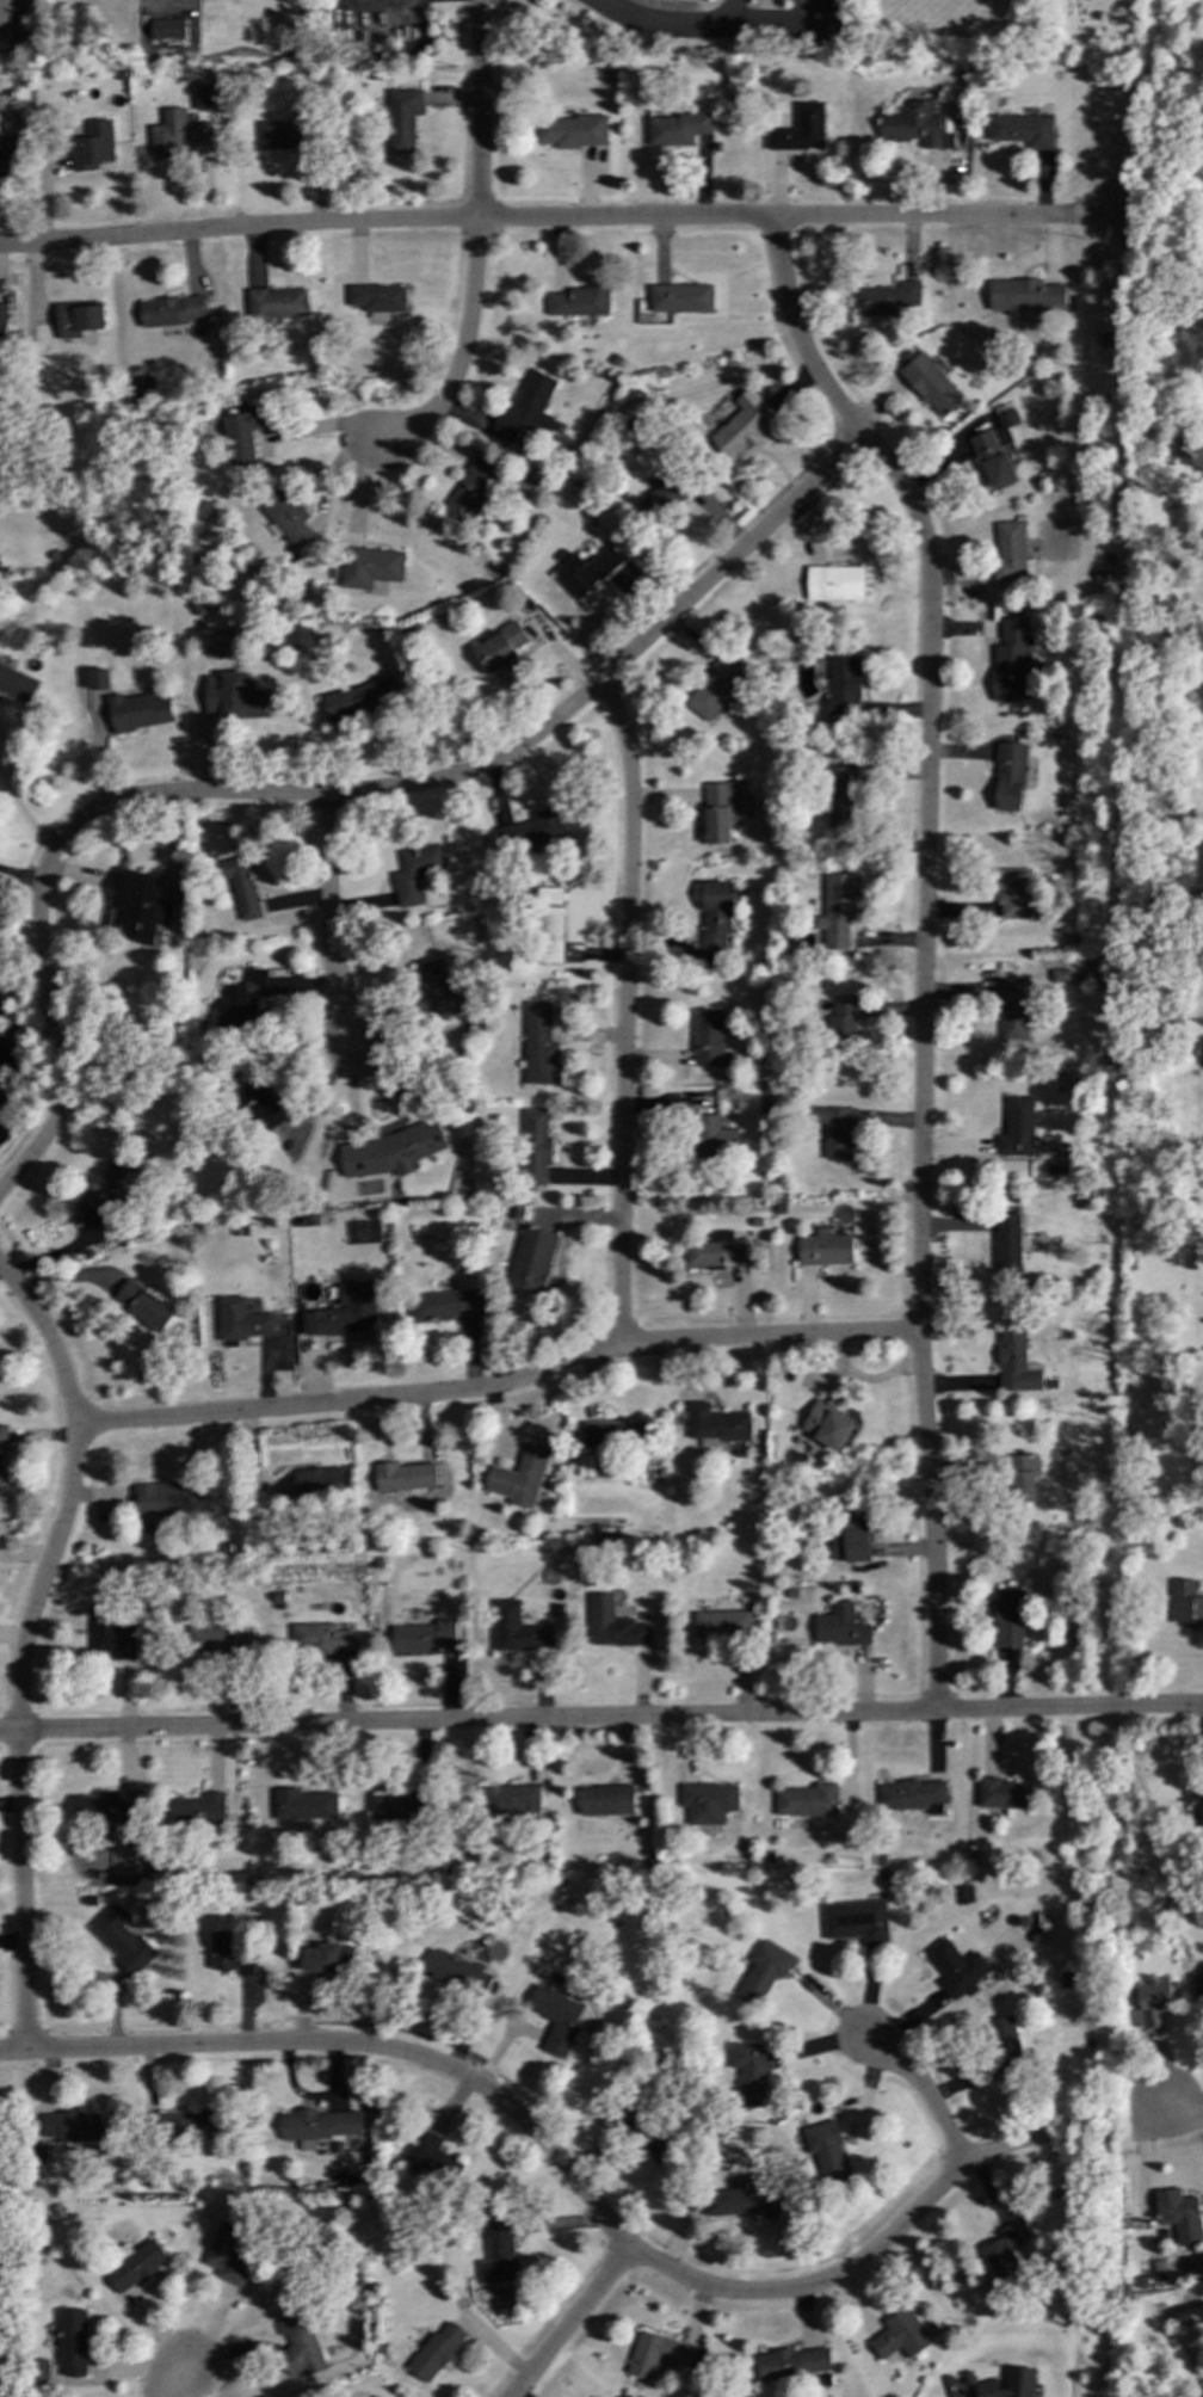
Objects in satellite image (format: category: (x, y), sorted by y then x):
building: (6, 12)
building: (825, 25)
road: (671, 27)
road: (776, 27)
building: (166, 29)
building: (208, 97)
road: (479, 110)
building: (402, 119)
building: (914, 125)
building: (677, 129)
building: (800, 130)
building: (1022, 130)
building: (572, 131)
building: (177, 135)
building: (284, 135)
building: (5, 136)
building: (92, 147)
road: (561, 220)
building: (1024, 296)
building: (679, 298)
building: (886, 298)
building: (377, 300)
building: (579, 302)
building: (276, 303)
building: (169, 312)
building: (78, 320)
building: (2, 326)
road: (459, 355)
building: (930, 386)
building: (529, 409)
building: (1007, 419)
building: (744, 425)
building: (243, 433)
building: (992, 458)
building: (471, 489)
building: (660, 498)
building: (286, 517)
building: (1011, 553)
building: (369, 567)
building: (585, 572)
building: (834, 584)
building: (499, 648)
building: (1011, 661)
building: (97, 679)
building: (16, 684)
building: (716, 686)
building: (843, 686)
building: (234, 697)
building: (359, 700)
building: (137, 711)
building: (1008, 777)
road: (329, 794)
building: (839, 796)
building: (718, 812)
road: (21, 817)
building: (531, 831)
building: (414, 873)
road: (19, 880)
building: (240, 886)
building: (1014, 893)
building: (138, 907)
building: (837, 910)
building: (715, 914)
road: (327, 920)
building: (548, 925)
road: (921, 944)
building: (1060, 976)
building: (437, 986)
building: (240, 1002)
road: (624, 1010)
building: (1013, 1010)
building: (707, 1037)
building: (537, 1045)
building: (263, 1104)
building: (1017, 1128)
building: (835, 1132)
building: (710, 1138)
building: (533, 1148)
building: (391, 1151)
building: (979, 1165)
building: (1055, 1167)
building: (112, 1193)
building: (1007, 1245)
building: (714, 1250)
building: (823, 1250)
building: (531, 1259)
building: (446, 1305)
building: (142, 1306)
building: (344, 1312)
building: (241, 1320)
building: (1014, 1362)
road: (499, 1385)
building: (715, 1425)
building: (826, 1425)
building: (616, 1435)
building: (2, 1436)
building: (517, 1477)
building: (405, 1478)
building: (1022, 1478)
building: (317, 1483)
building: (0, 1484)
building: (169, 1498)
building: (851, 1538)
building: (1185, 1603)
building: (1007, 1619)
building: (612, 1625)
building: (721, 1625)
building: (839, 1627)
building: (516, 1629)
building: (110, 1635)
building: (420, 1637)
building: (319, 1638)
building: (216, 1640)
road: (23, 1647)
road: (1155, 1709)
road: (554, 1719)
building: (1196, 1792)
building: (1002, 1793)
building: (912, 1795)
building: (510, 1799)
building: (806, 1800)
building: (708, 1801)
building: (304, 1805)
building: (394, 1805)
building: (106, 1808)
building: (197, 1810)
building: (964, 1894)
building: (855, 1921)
building: (121, 1940)
building: (228, 1954)
building: (328, 1959)
building: (1202, 1966)
building: (956, 1968)
building: (761, 1972)
building: (456, 1973)
building: (1154, 2001)
building: (555, 2019)
building: (1004, 2045)
road: (923, 2093)
road: (1184, 2108)
building: (189, 2125)
building: (70, 2126)
building: (317, 2126)
building: (650, 2140)
building: (828, 2153)
building: (430, 2156)
road: (557, 2163)
building: (742, 2199)
building: (1179, 2214)
building: (499, 2251)
building: (228, 2253)
building: (1002, 2253)
building: (135, 2267)
building: (1189, 2315)
road: (568, 2322)
building: (900, 2335)
building: (72, 2342)
building: (298, 2347)
building: (434, 2352)
building: (656, 2354)
building: (792, 2364)
building: (41, 2372)
road: (171, 2376)
building: (1007, 2384)
building: (594, 2396)

